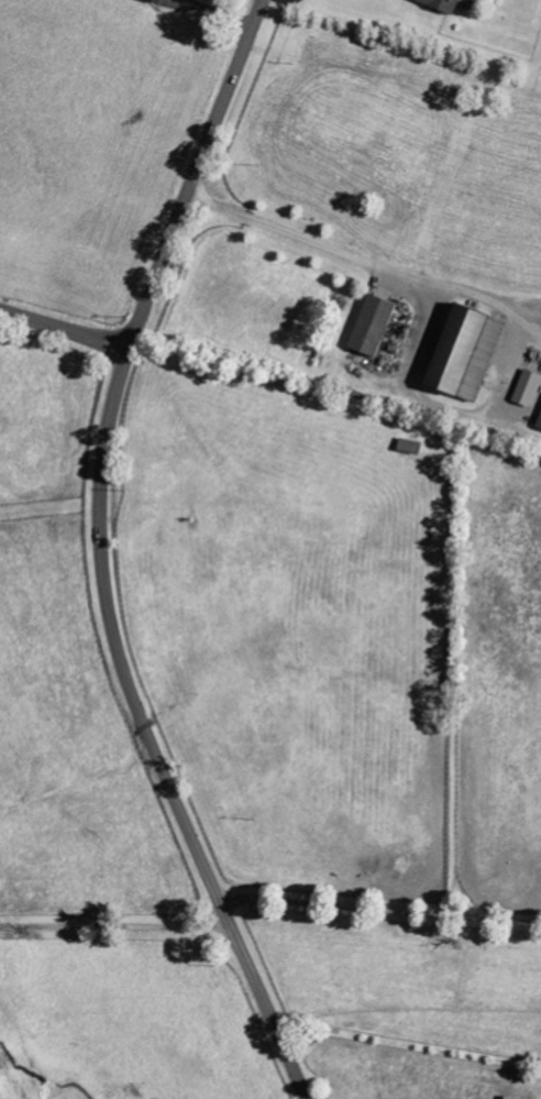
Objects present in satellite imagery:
building: (448, 4)
road: (339, 253)
road: (517, 303)
building: (376, 325)
road: (66, 328)
building: (471, 352)
road: (101, 556)
road: (379, 909)
road: (114, 927)

